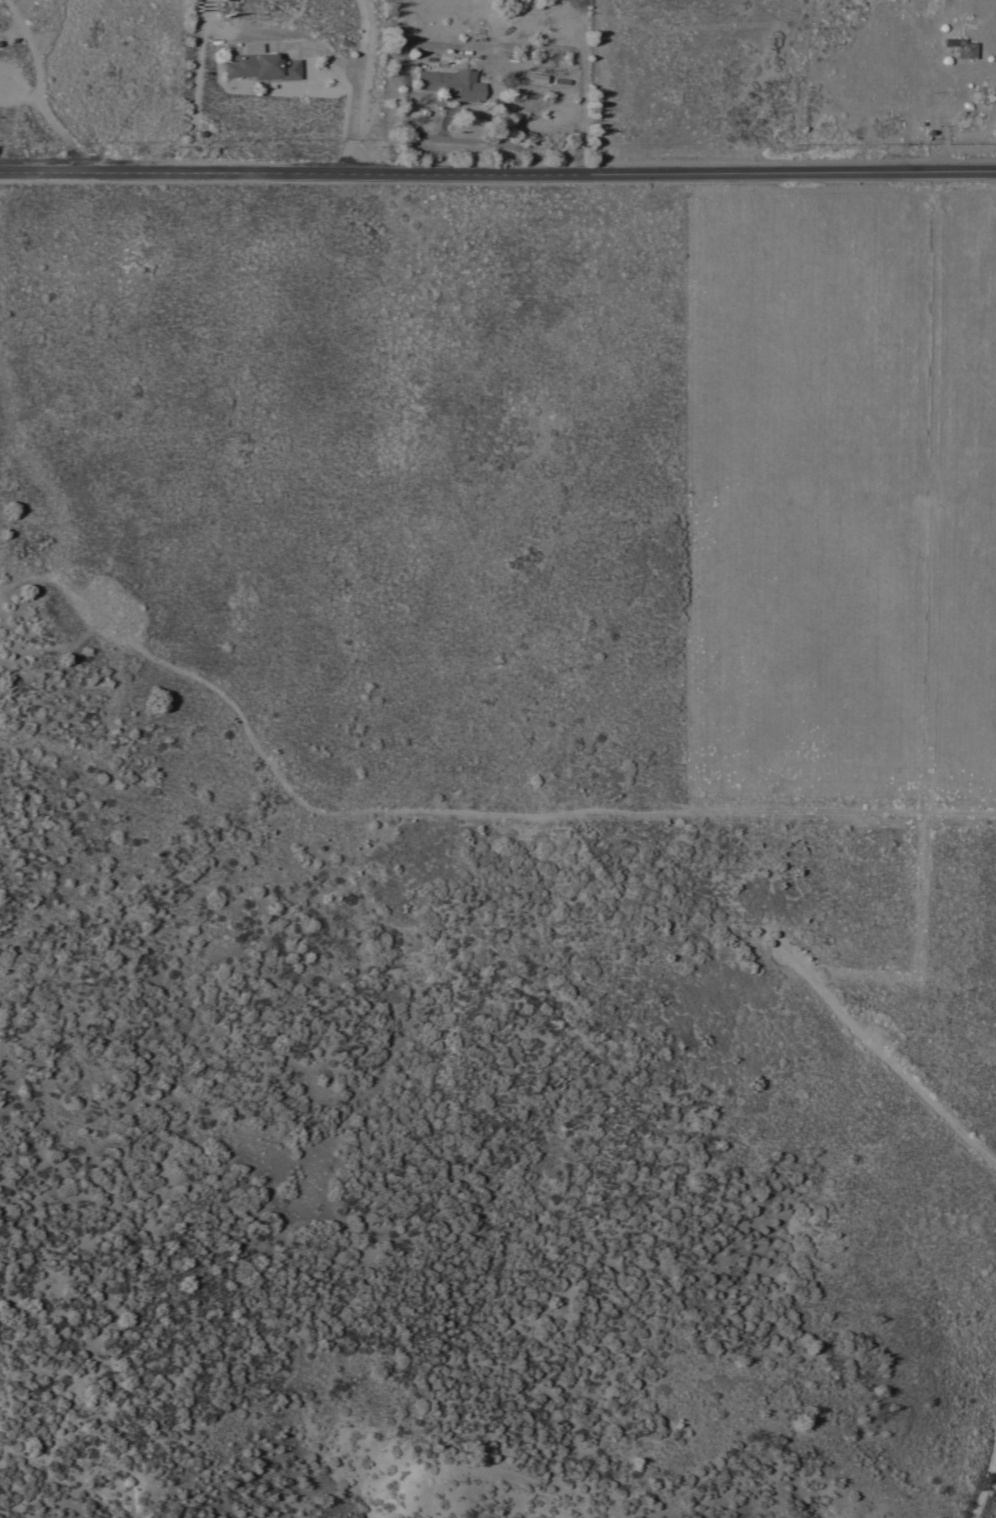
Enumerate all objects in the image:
road: (274, 38)
road: (361, 38)
building: (958, 46)
building: (260, 65)
building: (535, 77)
building: (451, 84)
road: (44, 91)
road: (351, 124)
road: (498, 171)
road: (455, 808)
road: (971, 1023)
road: (889, 1056)
road: (817, 1061)
road: (962, 1213)
road: (987, 1485)

